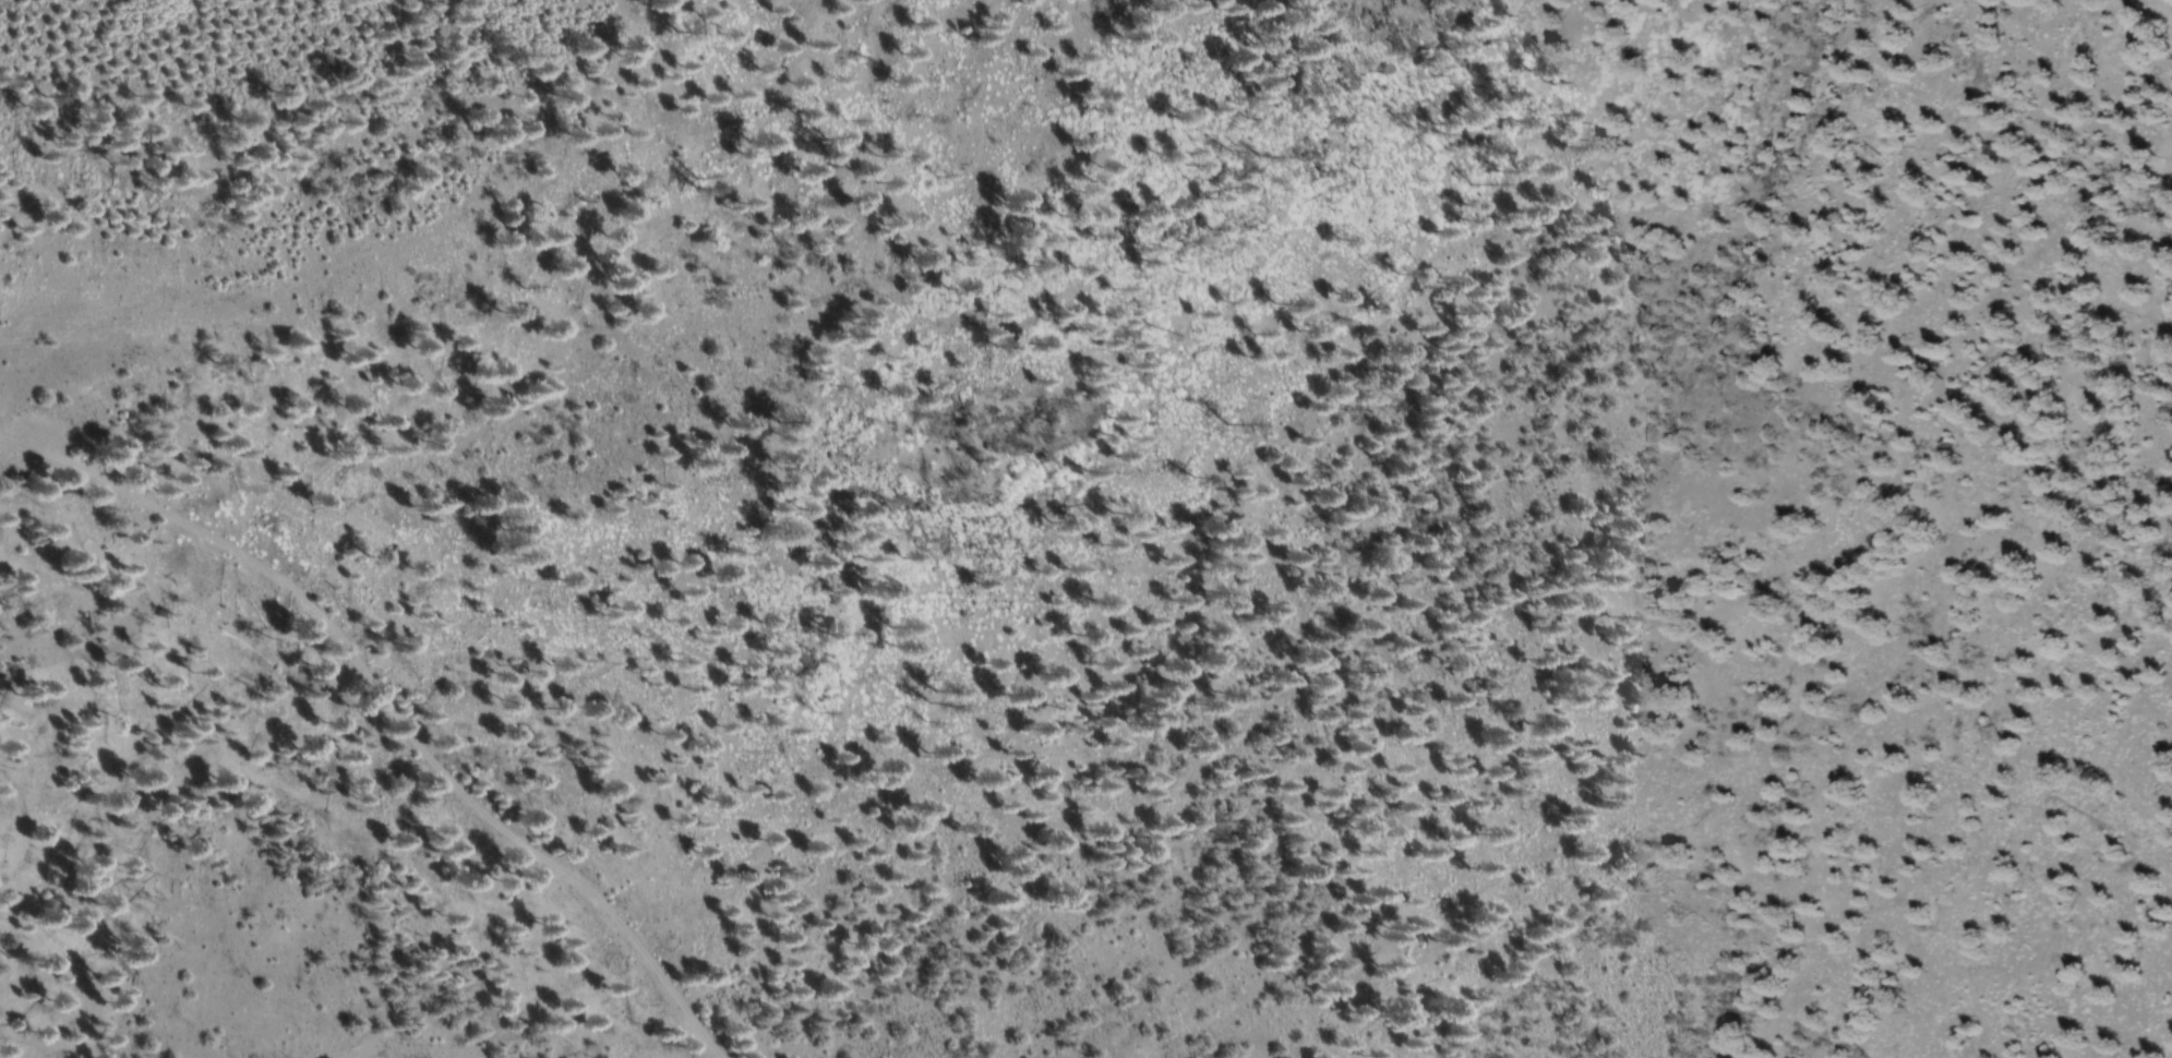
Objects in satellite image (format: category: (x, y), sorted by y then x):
road: (395, 704)

